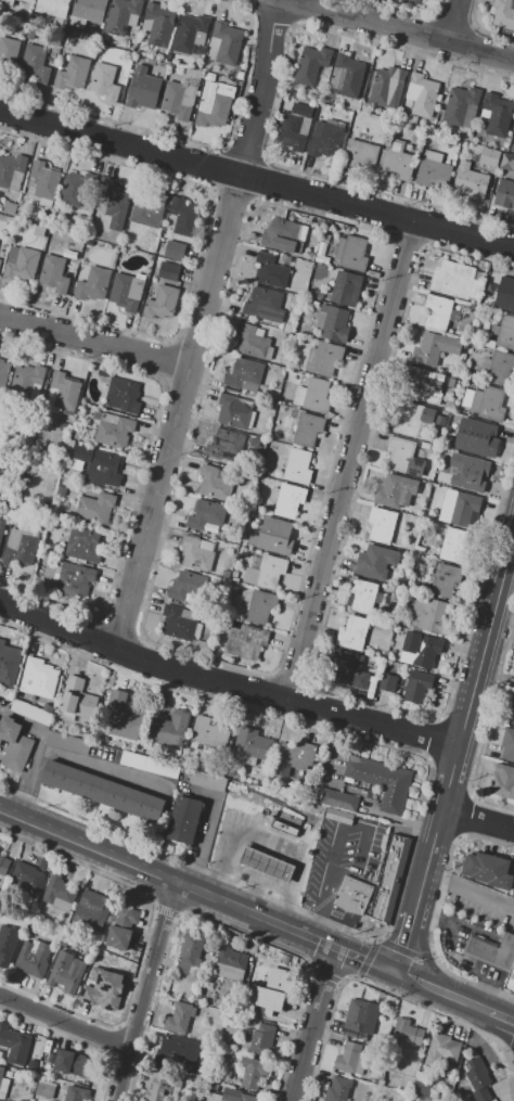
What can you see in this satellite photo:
building: (26, 1)
building: (8, 2)
building: (411, 2)
building: (53, 7)
building: (89, 10)
building: (503, 13)
building: (121, 15)
road: (458, 22)
building: (157, 25)
road: (401, 29)
building: (191, 33)
building: (226, 42)
building: (8, 54)
building: (34, 65)
building: (310, 65)
building: (72, 73)
building: (240, 75)
building: (347, 76)
building: (104, 81)
building: (386, 85)
building: (143, 89)
building: (181, 95)
building: (422, 95)
building: (214, 104)
building: (462, 106)
building: (497, 114)
building: (294, 127)
building: (326, 139)
building: (513, 141)
building: (359, 154)
building: (488, 156)
building: (448, 159)
building: (397, 161)
building: (506, 162)
building: (12, 170)
building: (433, 170)
road: (256, 179)
building: (43, 180)
building: (471, 182)
building: (74, 190)
building: (504, 194)
building: (116, 204)
building: (10, 208)
building: (147, 208)
building: (183, 216)
building: (297, 217)
building: (320, 222)
building: (283, 235)
building: (172, 249)
building: (352, 252)
building: (0, 261)
building: (21, 265)
building: (167, 270)
building: (270, 271)
building: (53, 274)
building: (457, 280)
building: (92, 284)
building: (346, 289)
building: (126, 292)
building: (318, 294)
building: (507, 294)
building: (160, 303)
building: (262, 305)
building: (437, 311)
road: (197, 324)
building: (335, 324)
building: (503, 333)
road: (93, 342)
building: (253, 343)
building: (465, 344)
building: (434, 348)
building: (323, 358)
building: (500, 369)
building: (243, 373)
building: (3, 376)
building: (28, 382)
building: (416, 384)
building: (64, 391)
building: (124, 396)
building: (313, 396)
building: (486, 404)
building: (233, 412)
building: (427, 414)
building: (439, 421)
building: (306, 428)
building: (114, 433)
building: (479, 436)
building: (288, 441)
building: (223, 443)
building: (403, 458)
road: (355, 463)
building: (295, 466)
building: (103, 469)
building: (266, 471)
building: (468, 473)
building: (214, 483)
building: (395, 490)
building: (286, 500)
building: (95, 508)
building: (460, 509)
building: (206, 515)
building: (381, 525)
building: (2, 528)
building: (275, 536)
building: (83, 543)
building: (451, 545)
building: (22, 546)
building: (197, 553)
building: (375, 562)
building: (432, 563)
building: (269, 571)
building: (74, 579)
building: (445, 580)
building: (188, 587)
building: (364, 597)
building: (260, 606)
building: (429, 614)
building: (178, 623)
building: (352, 632)
building: (245, 641)
building: (420, 650)
building: (8, 664)
building: (348, 669)
building: (38, 678)
building: (387, 682)
road: (224, 684)
building: (416, 686)
building: (372, 687)
building: (76, 700)
building: (510, 714)
building: (120, 715)
road: (463, 721)
building: (170, 727)
building: (210, 732)
building: (66, 742)
building: (14, 744)
building: (252, 744)
building: (507, 744)
road: (34, 754)
building: (293, 756)
building: (149, 764)
road: (101, 767)
building: (206, 780)
building: (382, 780)
building: (502, 781)
building: (102, 791)
building: (338, 799)
building: (184, 819)
road: (477, 820)
building: (286, 823)
road: (270, 843)
building: (3, 865)
building: (266, 865)
gas station: (266, 865)
building: (488, 870)
building: (28, 878)
road: (254, 878)
building: (390, 878)
road: (324, 880)
road: (196, 891)
road: (468, 892)
building: (59, 893)
road: (250, 895)
building: (352, 895)
building: (93, 904)
building: (121, 927)
road: (406, 940)
building: (8, 944)
building: (252, 949)
road: (423, 951)
building: (189, 955)
building: (497, 956)
building: (31, 959)
building: (230, 963)
traffic signals: (393, 972)
building: (65, 975)
road: (427, 986)
building: (110, 990)
road: (143, 991)
building: (271, 994)
building: (197, 995)
road: (488, 1011)
building: (361, 1015)
building: (179, 1017)
road: (64, 1022)
road: (312, 1024)
road: (491, 1032)
building: (407, 1033)
building: (261, 1039)
building: (14, 1045)
building: (444, 1047)
building: (178, 1053)
building: (0, 1054)
building: (347, 1058)
building: (74, 1063)
building: (252, 1072)
building: (476, 1073)
building: (4, 1083)
building: (157, 1086)
building: (337, 1089)
building: (44, 1090)
building: (419, 1090)
building: (76, 1093)
building: (235, 1096)
building: (211, 1097)

